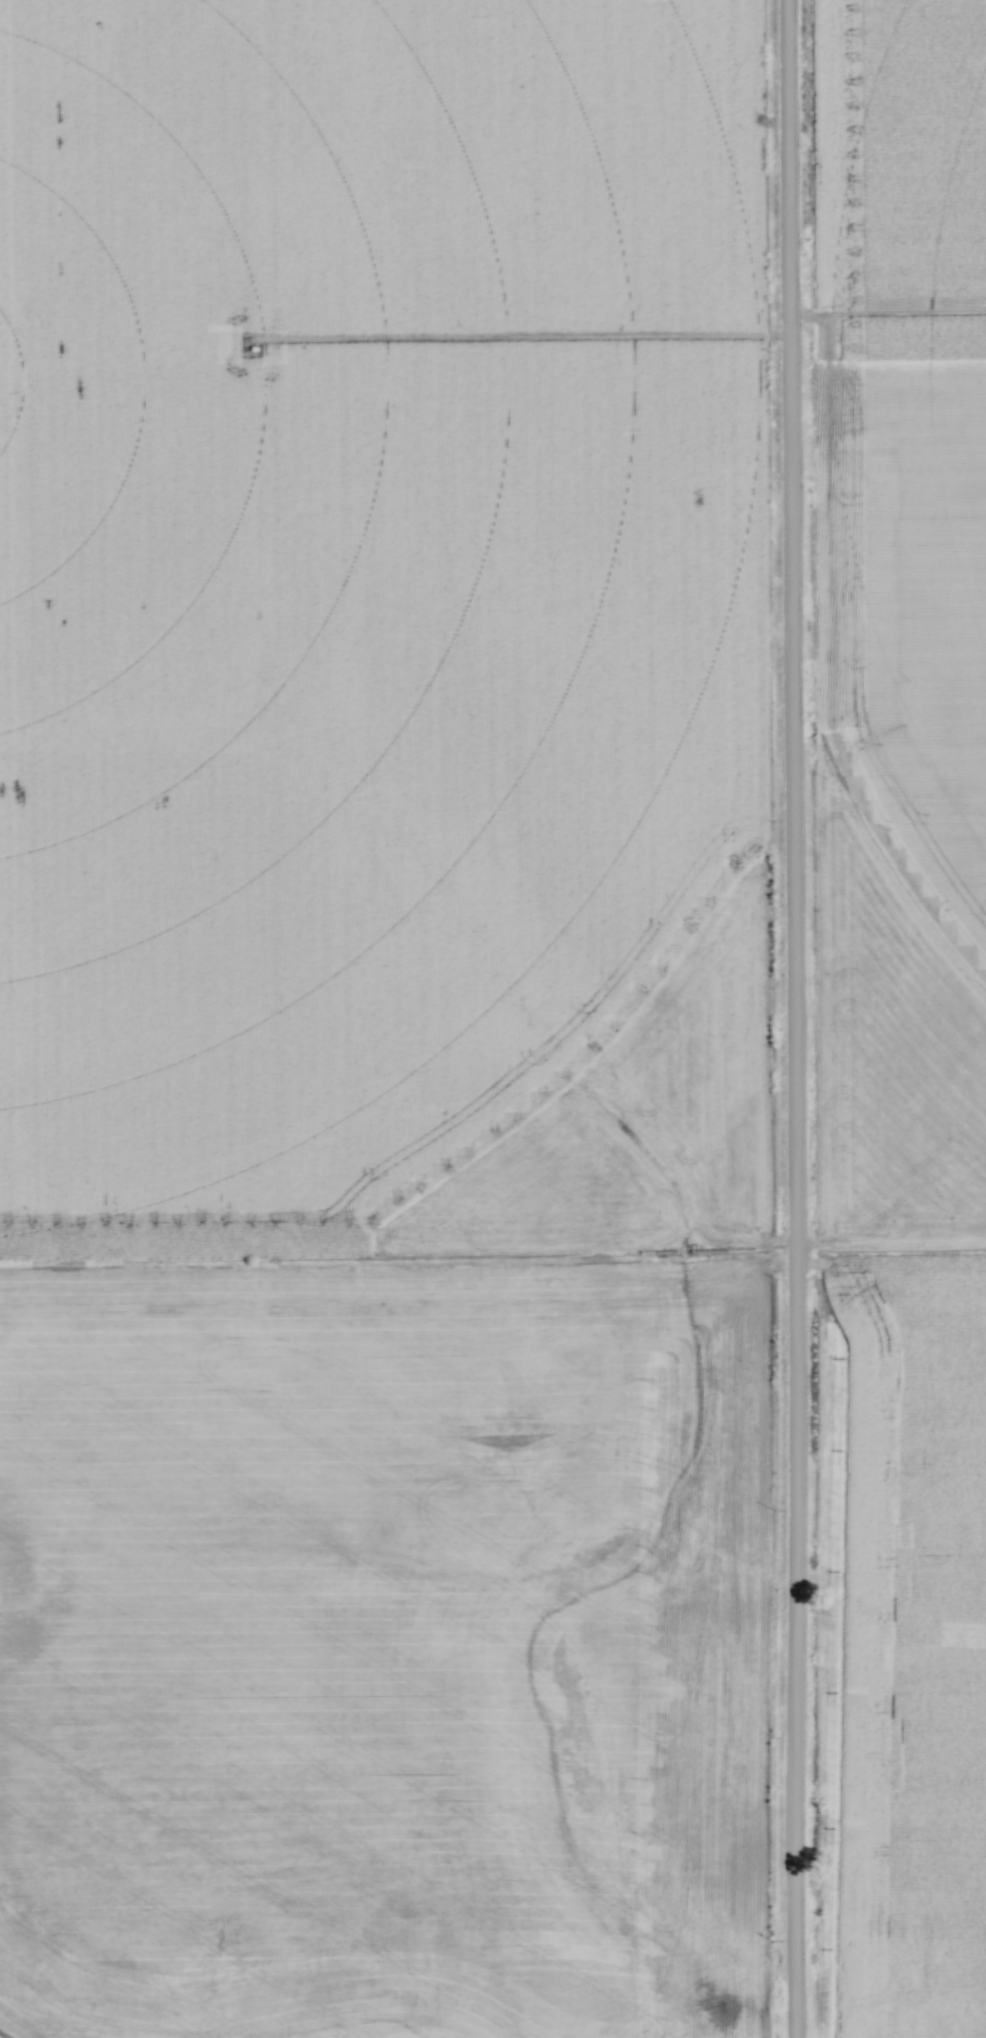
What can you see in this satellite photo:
road: (794, 1018)

